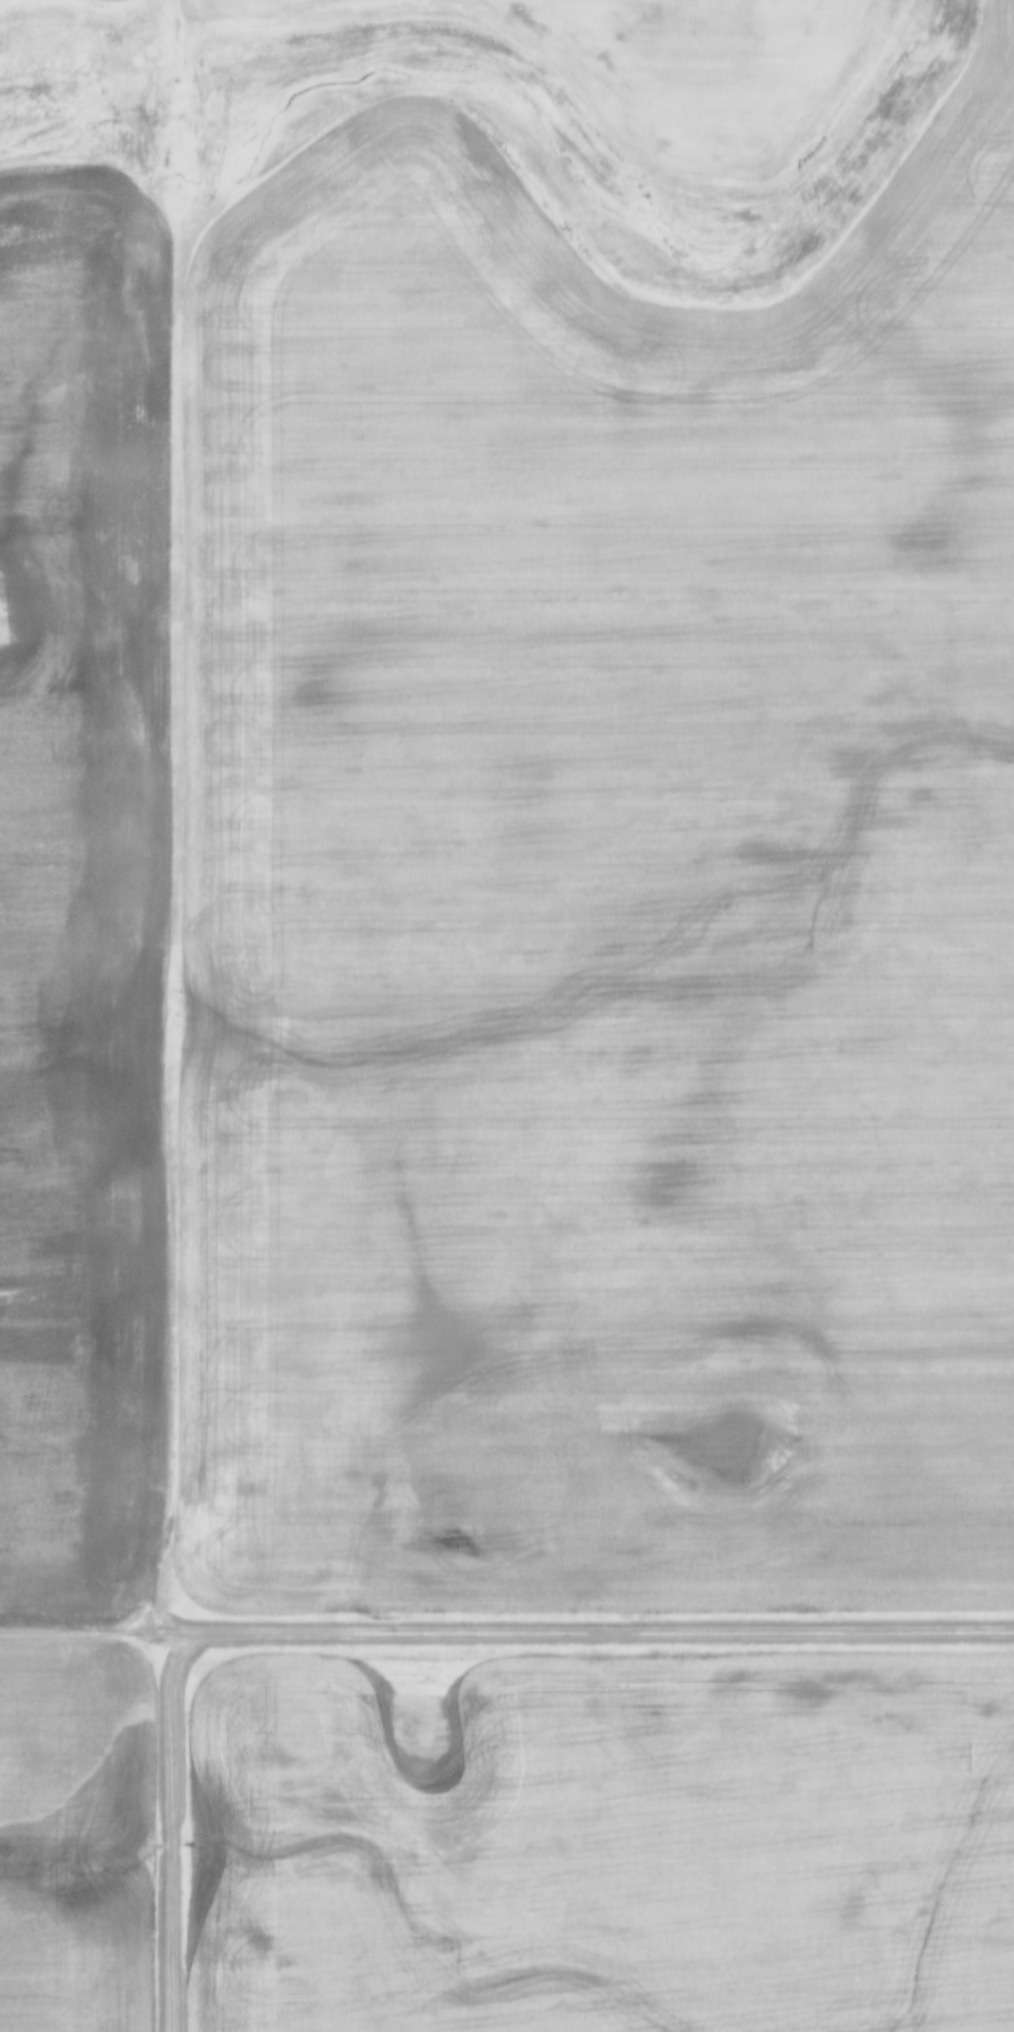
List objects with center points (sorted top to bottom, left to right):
road: (506, 1636)
road: (173, 1833)

